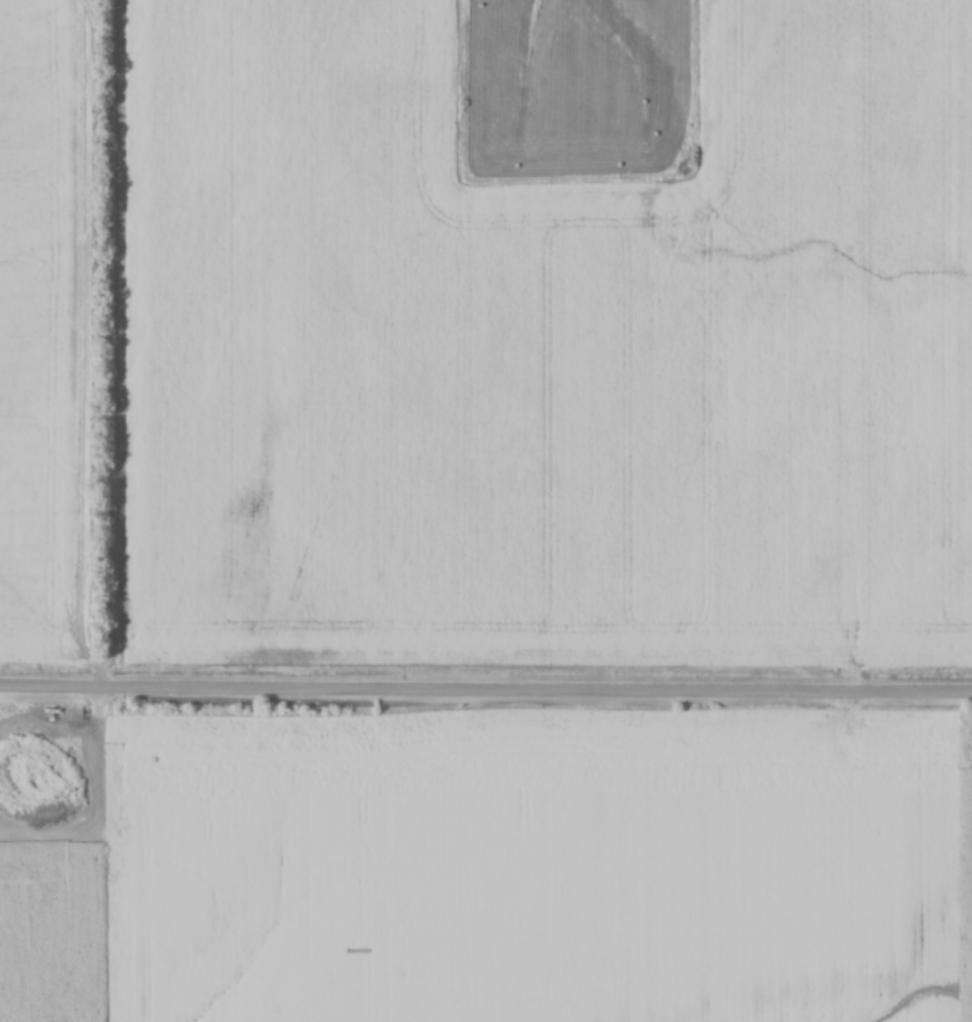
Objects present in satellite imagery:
road: (486, 688)

